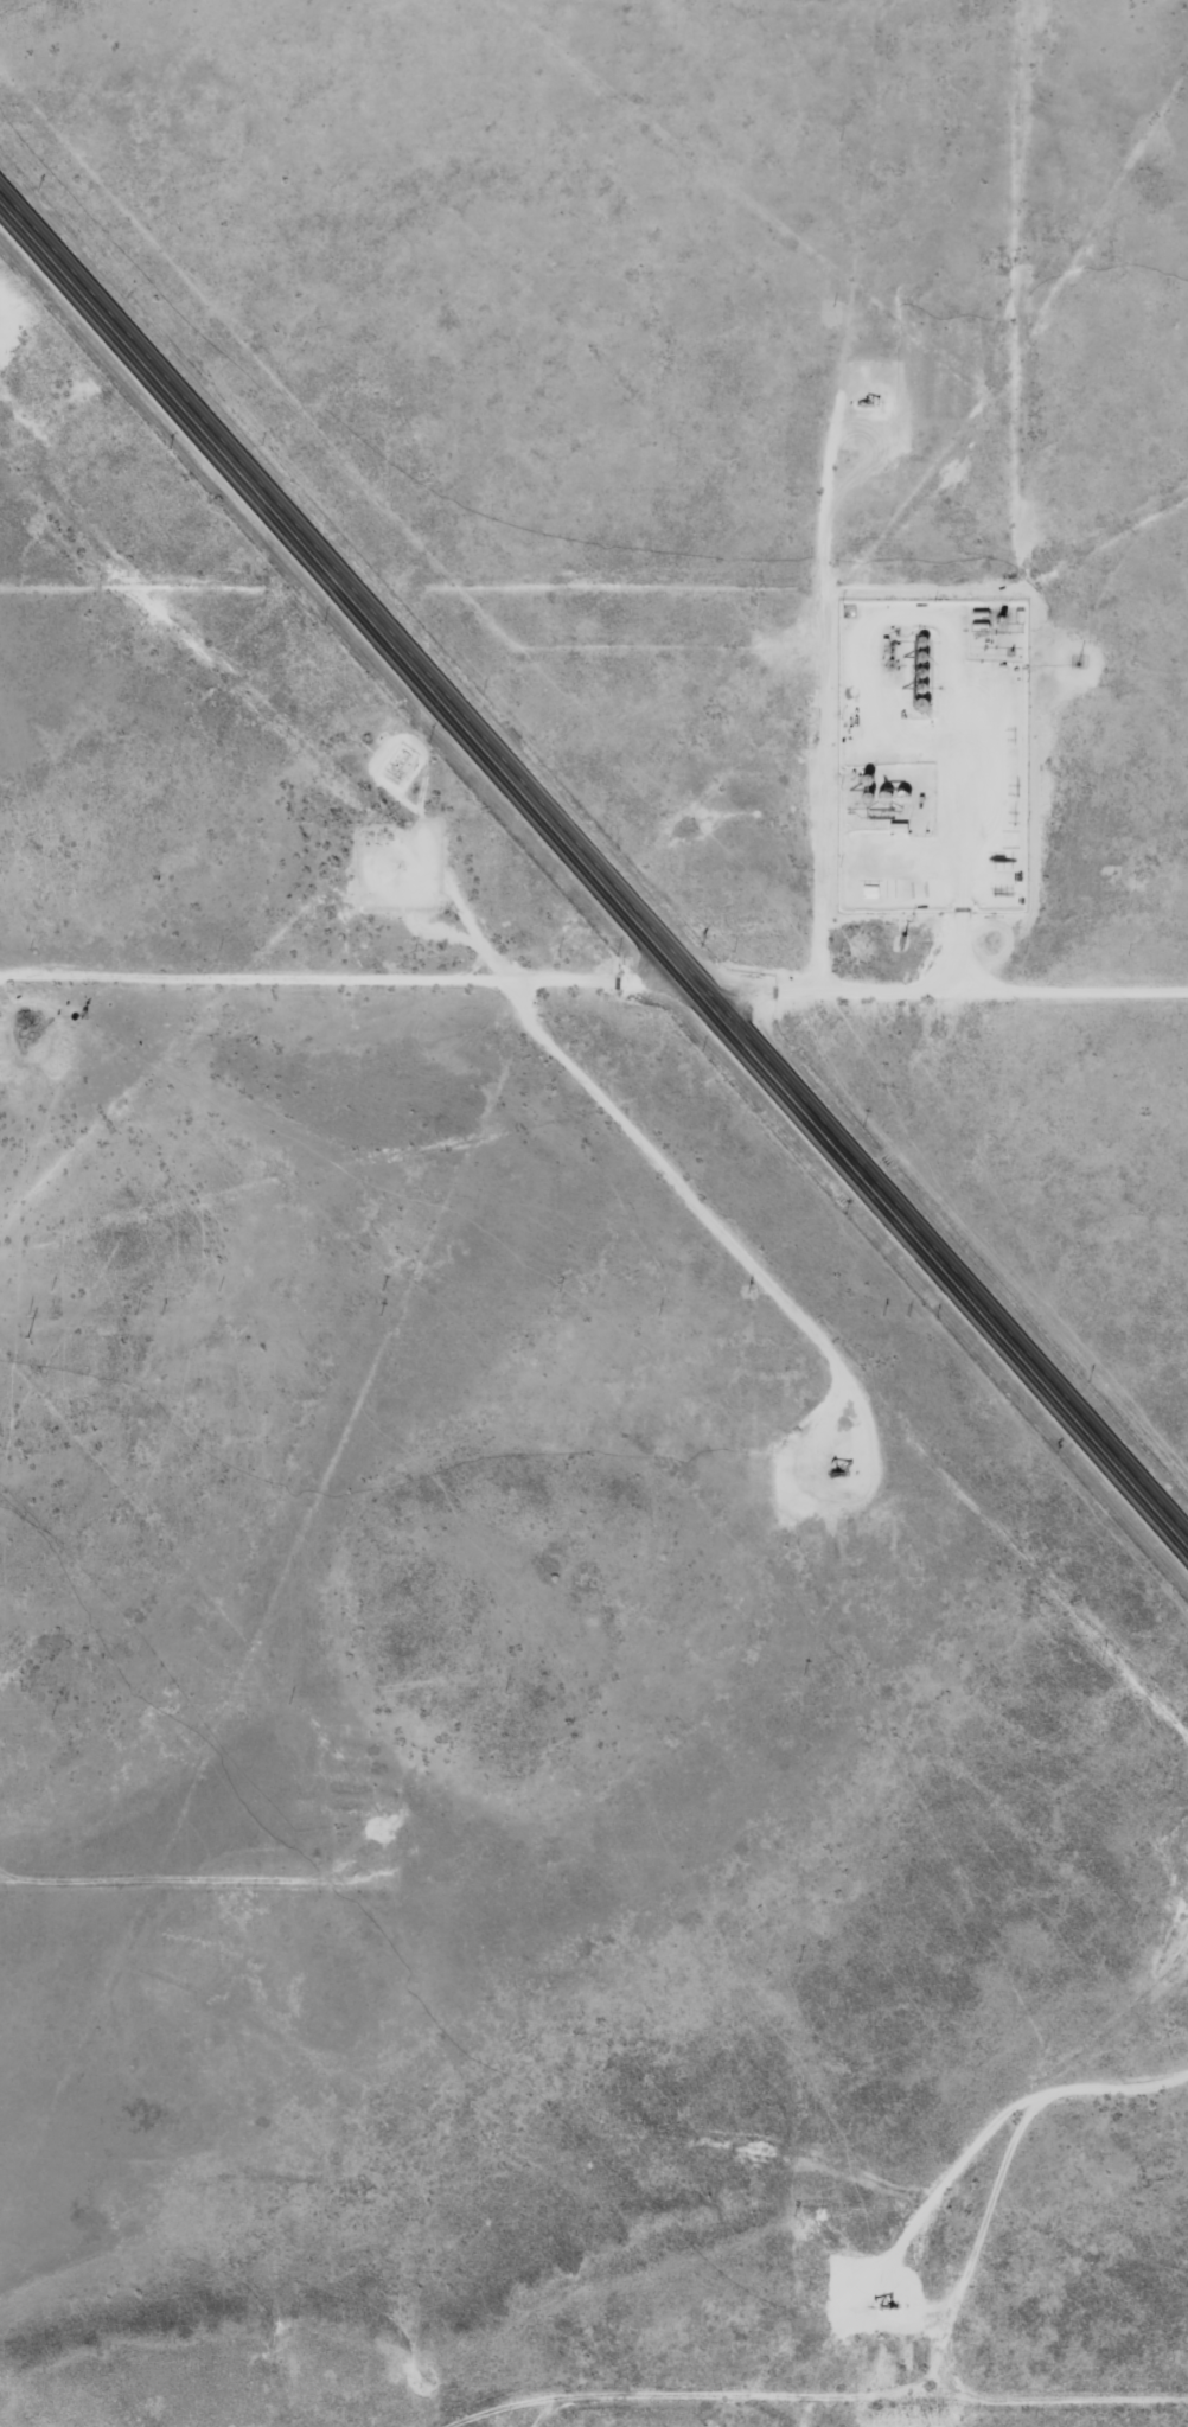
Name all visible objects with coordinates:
road: (601, 854)
road: (593, 972)
road: (170, 1866)
road: (921, 2368)

